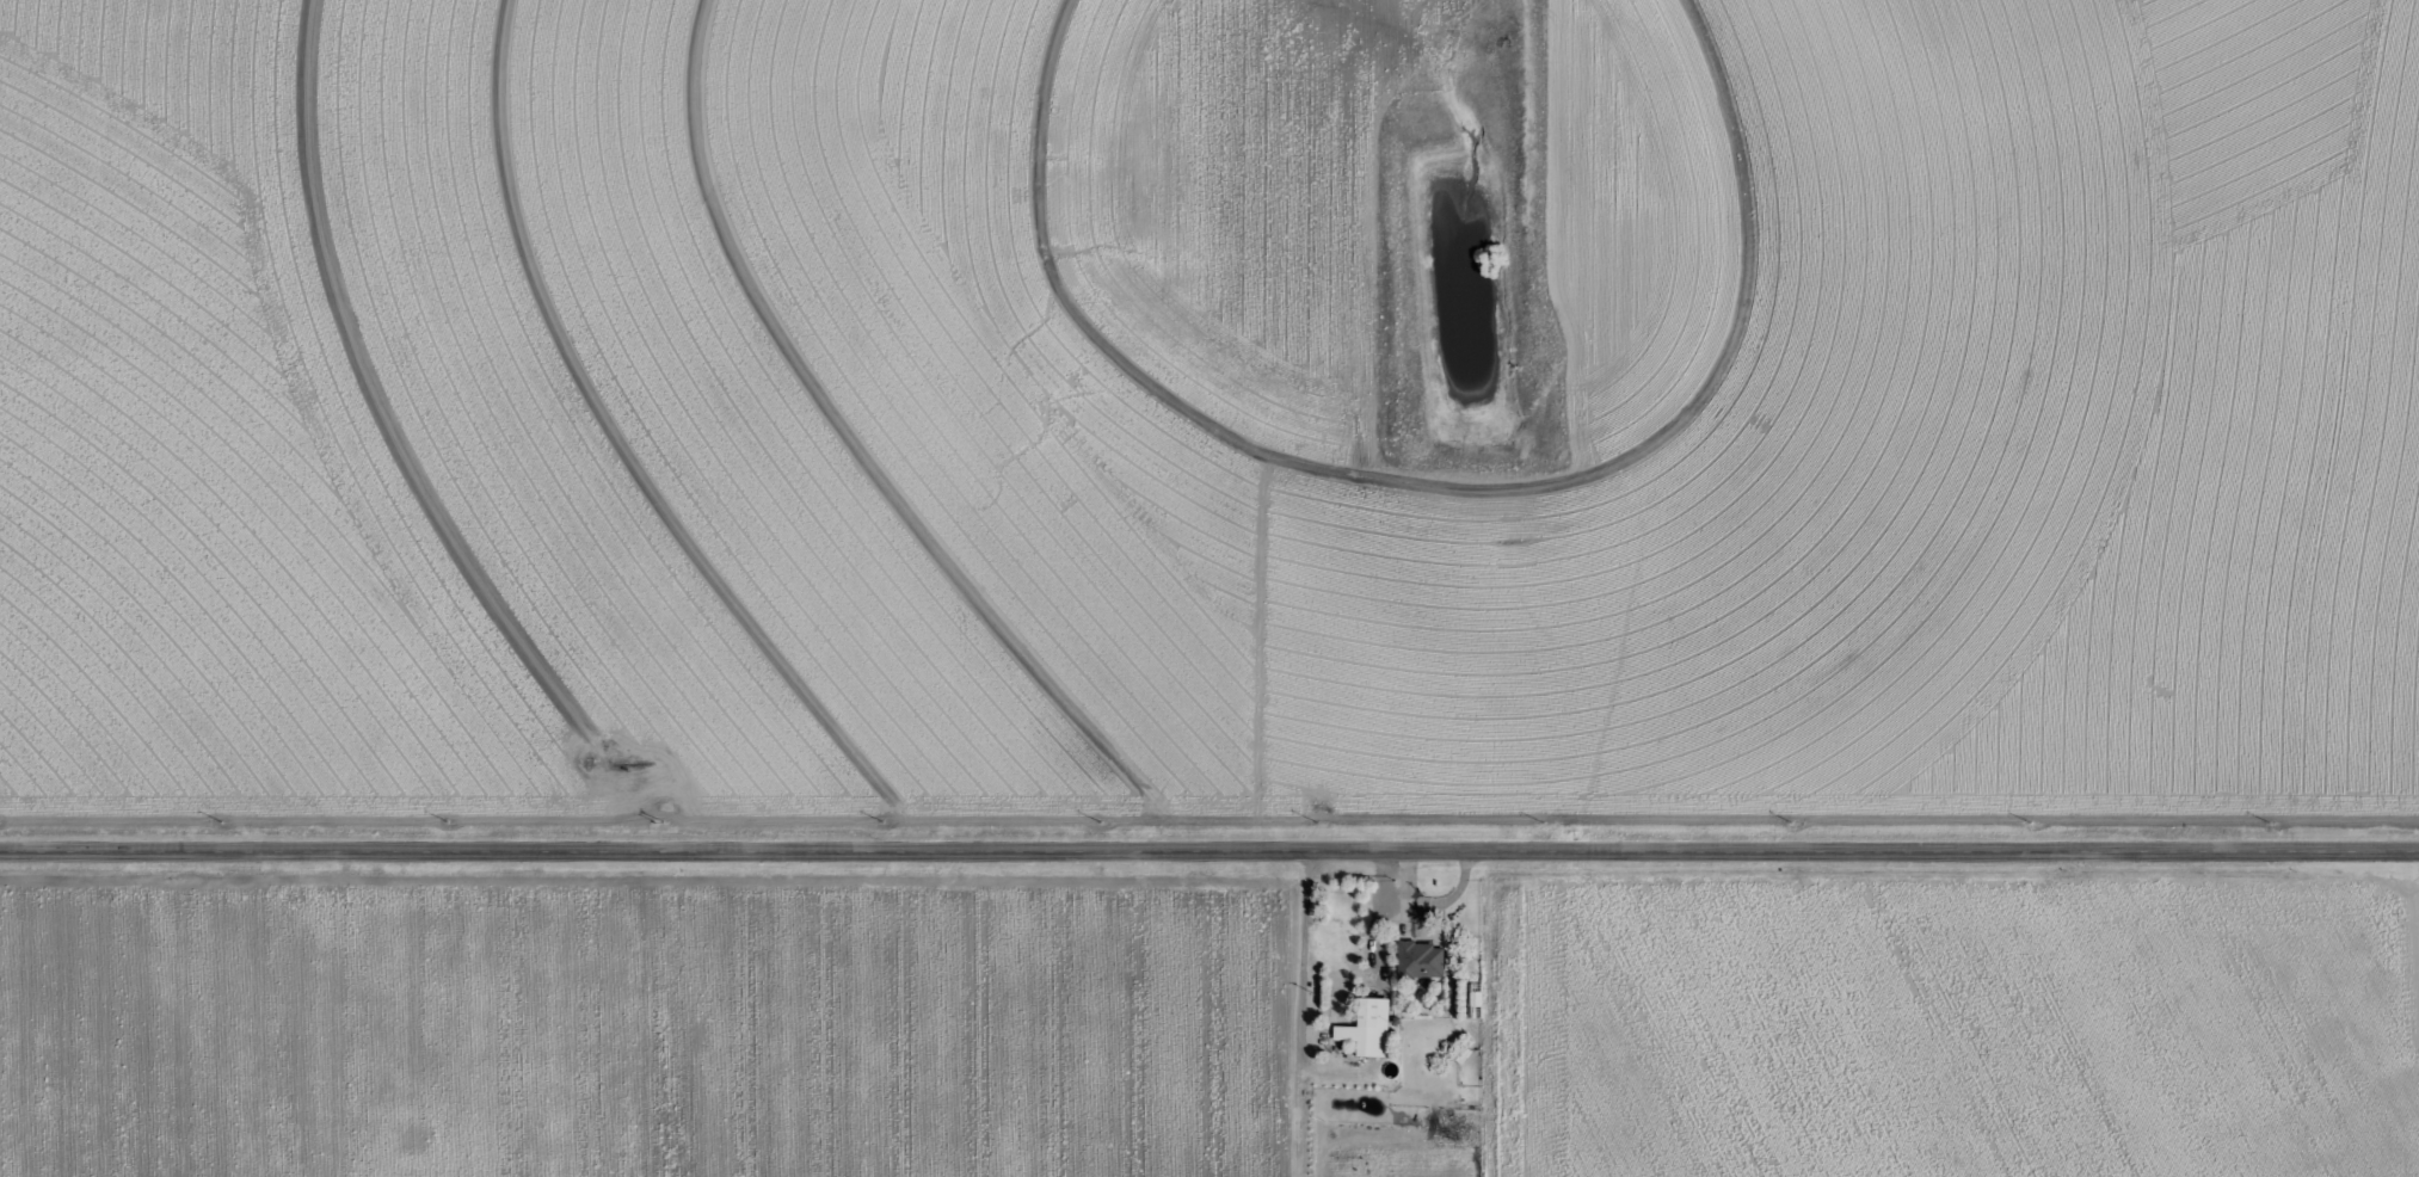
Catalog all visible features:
road: (1208, 843)
road: (1303, 984)
building: (1368, 1029)

